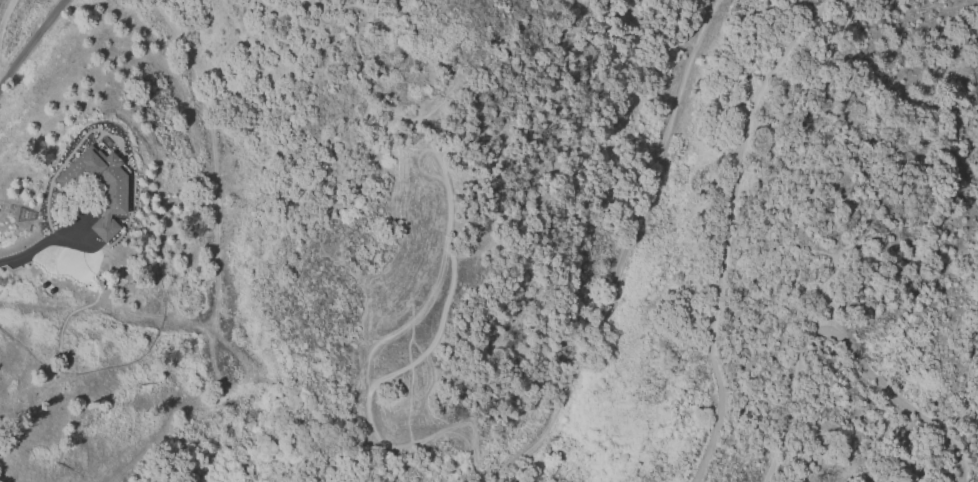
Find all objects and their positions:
road: (30, 40)
road: (420, 151)
building: (115, 189)
road: (732, 230)
road: (45, 242)
road: (625, 251)
road: (420, 313)
road: (842, 338)
road: (383, 379)

